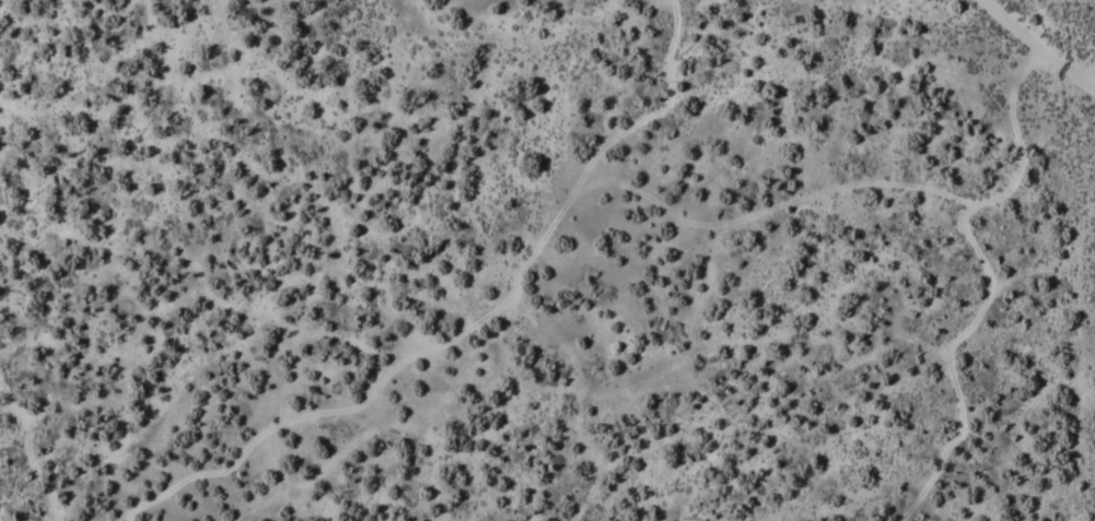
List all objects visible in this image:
road: (1036, 45)

